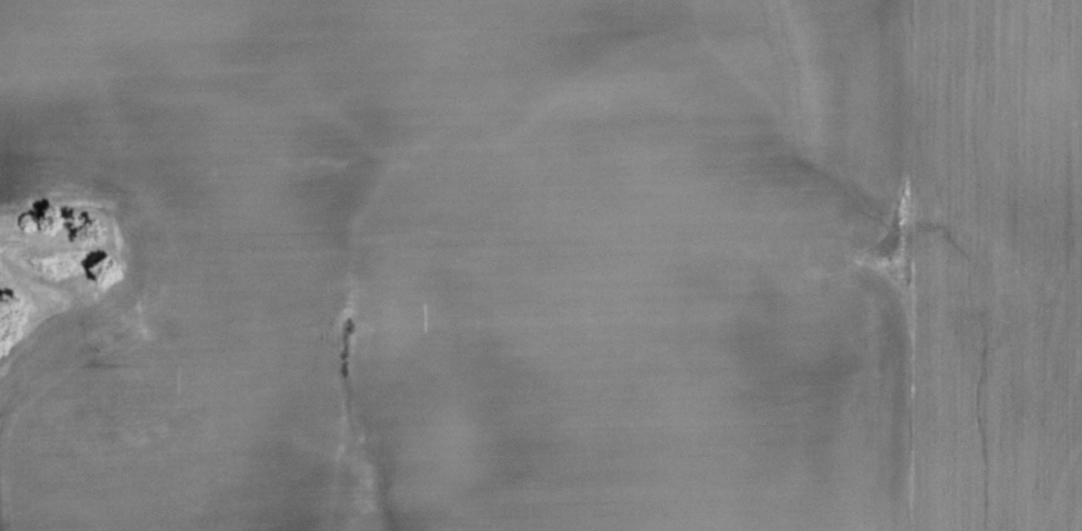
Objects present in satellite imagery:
crop: (552, 264)

